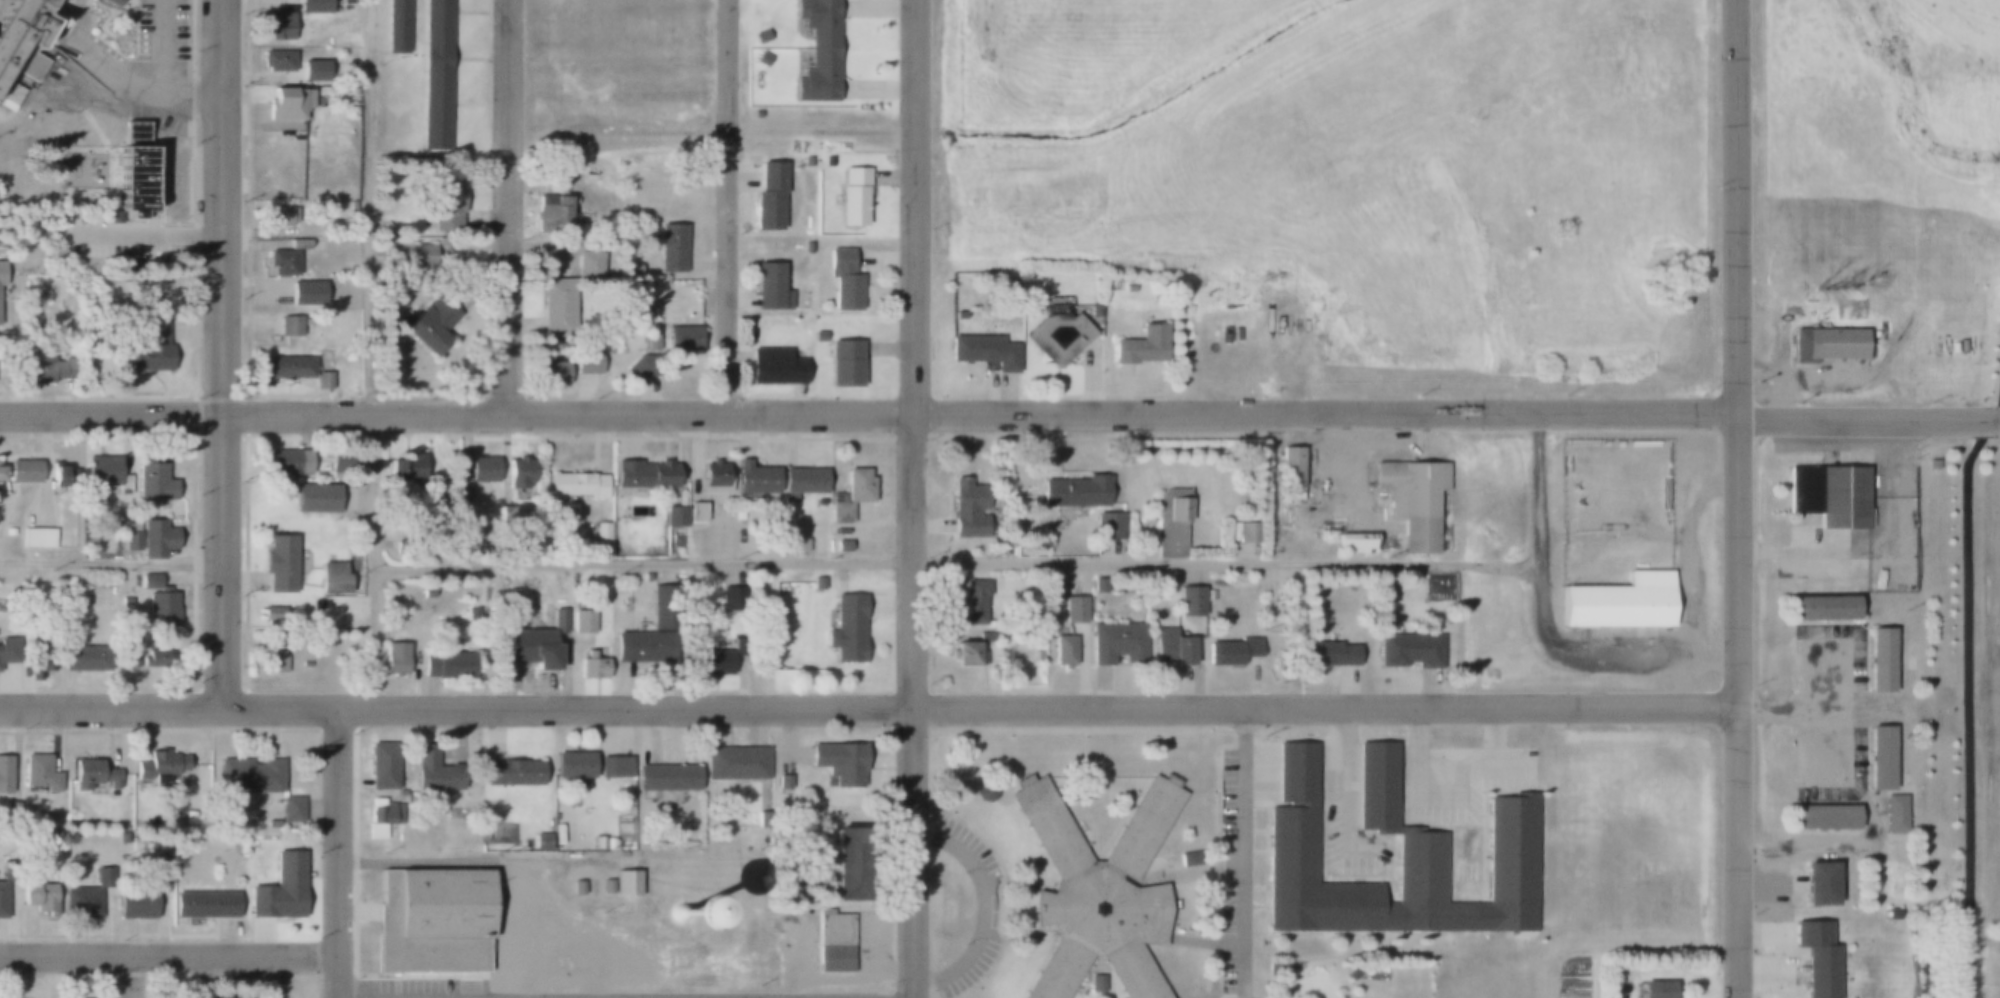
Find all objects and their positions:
building: (64, 1)
building: (113, 2)
building: (312, 6)
road: (370, 25)
building: (281, 26)
building: (397, 27)
parking lot: (163, 33)
building: (758, 36)
building: (22, 37)
road: (161, 47)
building: (817, 51)
building: (760, 58)
building: (276, 60)
building: (437, 72)
building: (322, 79)
road: (127, 85)
building: (287, 103)
building: (807, 161)
building: (826, 161)
building: (130, 171)
building: (766, 196)
building: (852, 197)
building: (441, 200)
road: (726, 206)
building: (349, 207)
road: (506, 208)
building: (552, 215)
building: (280, 216)
building: (384, 227)
parking lot: (108, 238)
building: (670, 248)
building: (807, 248)
building: (416, 255)
building: (285, 257)
road: (889, 260)
building: (629, 270)
building: (0, 275)
building: (844, 280)
building: (769, 288)
building: (305, 292)
building: (692, 295)
building: (556, 297)
building: (0, 302)
building: (431, 325)
building: (289, 326)
building: (748, 334)
building: (818, 337)
building: (1057, 337)
building: (682, 338)
building: (1827, 344)
building: (1140, 346)
building: (606, 348)
building: (150, 350)
building: (982, 352)
road: (224, 354)
building: (349, 357)
building: (586, 362)
building: (47, 365)
building: (844, 365)
building: (774, 366)
building: (280, 367)
building: (638, 367)
building: (552, 372)
road: (371, 378)
building: (323, 380)
road: (1990, 409)
road: (981, 411)
road: (112, 415)
road: (1868, 421)
building: (284, 465)
building: (405, 467)
building: (481, 469)
building: (102, 470)
building: (519, 471)
building: (22, 472)
building: (1291, 472)
building: (643, 473)
building: (0, 474)
building: (57, 477)
building: (714, 479)
building: (753, 480)
building: (152, 484)
building: (575, 484)
building: (802, 484)
building: (857, 487)
building: (463, 489)
building: (1073, 491)
building: (1830, 496)
building: (315, 498)
road: (914, 499)
building: (1412, 499)
road: (1736, 499)
building: (967, 508)
building: (839, 509)
building: (696, 512)
building: (507, 514)
building: (674, 517)
building: (1170, 523)
building: (1106, 526)
building: (9, 532)
building: (601, 533)
building: (131, 535)
building: (37, 537)
building: (156, 537)
building: (1242, 540)
building: (1356, 543)
building: (841, 546)
road: (113, 560)
road: (959, 561)
building: (279, 564)
building: (645, 575)
building: (333, 578)
building: (149, 580)
building: (817, 584)
building: (427, 593)
building: (732, 598)
building: (391, 602)
building: (1188, 602)
building: (972, 604)
building: (1621, 604)
building: (161, 609)
building: (1074, 609)
building: (1822, 609)
building: (275, 615)
building: (665, 615)
road: (1541, 619)
building: (559, 620)
building: (583, 621)
building: (846, 628)
building: (645, 641)
building: (1118, 643)
building: (1229, 649)
building: (10, 650)
building: (974, 650)
building: (1173, 650)
building: (1409, 651)
building: (1063, 652)
building: (548, 653)
building: (1330, 653)
building: (81, 658)
building: (127, 658)
building: (393, 658)
building: (156, 659)
building: (275, 660)
building: (1878, 660)
building: (713, 662)
building: (594, 663)
building: (446, 664)
road: (981, 707)
road: (1965, 708)
road: (113, 709)
parking lot: (1828, 714)
building: (569, 758)
building: (735, 758)
building: (1878, 758)
building: (840, 762)
road: (1454, 765)
building: (382, 766)
building: (614, 766)
building: (159, 769)
building: (433, 772)
building: (662, 772)
building: (40, 773)
building: (512, 773)
building: (248, 774)
building: (4, 775)
building: (93, 777)
building: (783, 783)
building: (1378, 787)
road: (1339, 801)
building: (291, 809)
building: (12, 813)
building: (1895, 814)
building: (377, 817)
building: (1823, 817)
building: (270, 824)
building: (49, 826)
building: (557, 836)
building: (121, 839)
building: (540, 841)
building: (608, 844)
road: (341, 853)
road: (1242, 854)
building: (1293, 859)
building: (845, 866)
building: (625, 883)
building: (1816, 884)
building: (576, 887)
building: (590, 887)
building: (605, 887)
building: (278, 888)
building: (1100, 892)
building: (83, 897)
building: (2, 898)
building: (43, 899)
building: (134, 901)
building: (204, 903)
road: (985, 909)
water tower: (681, 913)
building: (1891, 915)
building: (431, 921)
building: (835, 942)
road: (170, 955)
building: (1815, 958)
road: (129, 976)
building: (1098, 984)
building: (1655, 990)
building: (217, 995)

